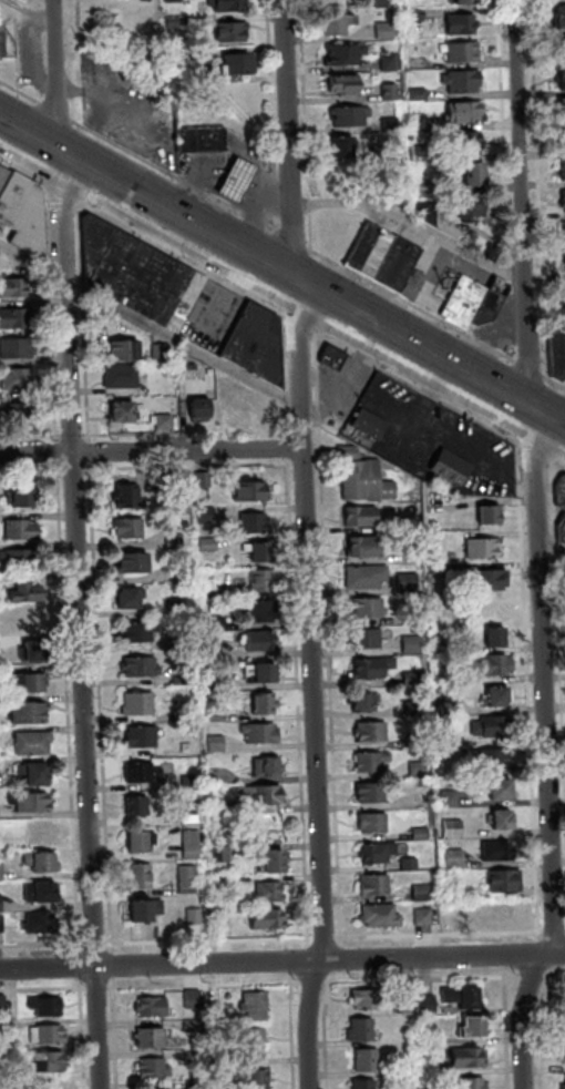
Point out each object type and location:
building: (174, 0)
building: (336, 1)
building: (466, 1)
building: (386, 3)
building: (232, 6)
building: (418, 16)
building: (562, 17)
building: (175, 21)
building: (339, 23)
building: (463, 24)
building: (234, 31)
building: (387, 31)
building: (6, 43)
road: (19, 43)
building: (561, 49)
building: (465, 52)
building: (347, 54)
building: (390, 62)
building: (240, 64)
road: (148, 79)
building: (563, 79)
building: (464, 81)
building: (346, 85)
building: (392, 92)
building: (420, 94)
building: (563, 108)
building: (466, 113)
road: (276, 116)
building: (351, 116)
building: (420, 123)
road: (308, 125)
building: (392, 125)
building: (564, 138)
road: (506, 139)
building: (203, 140)
building: (472, 143)
building: (343, 147)
building: (422, 153)
building: (384, 154)
road: (138, 156)
building: (564, 170)
building: (476, 175)
building: (238, 181)
building: (424, 184)
road: (542, 190)
building: (564, 196)
building: (471, 206)
building: (23, 211)
building: (430, 213)
road: (415, 224)
building: (563, 230)
road: (295, 241)
building: (371, 251)
building: (564, 259)
building: (398, 265)
building: (141, 275)
road: (282, 276)
building: (413, 285)
building: (13, 288)
building: (465, 302)
building: (493, 302)
road: (414, 306)
building: (16, 318)
road: (151, 324)
building: (259, 344)
building: (17, 348)
building: (126, 350)
building: (164, 352)
building: (558, 355)
building: (335, 358)
road: (533, 370)
building: (123, 376)
building: (20, 379)
road: (557, 383)
road: (419, 388)
road: (186, 395)
building: (203, 409)
building: (124, 413)
building: (19, 414)
building: (247, 416)
building: (168, 420)
road: (562, 421)
building: (370, 424)
road: (152, 449)
road: (537, 454)
road: (561, 467)
building: (453, 468)
road: (307, 471)
building: (363, 478)
building: (205, 480)
building: (132, 484)
building: (253, 492)
building: (562, 495)
building: (22, 497)
building: (130, 497)
building: (208, 516)
building: (490, 516)
building: (362, 517)
building: (256, 523)
building: (131, 529)
building: (22, 530)
building: (564, 531)
building: (173, 537)
road: (80, 544)
building: (210, 544)
road: (543, 547)
building: (364, 548)
building: (486, 549)
building: (260, 553)
building: (454, 557)
building: (20, 559)
building: (135, 564)
building: (442, 569)
building: (367, 577)
building: (263, 581)
building: (492, 581)
building: (409, 582)
building: (25, 594)
building: (133, 599)
building: (369, 609)
building: (263, 612)
building: (415, 618)
building: (417, 630)
building: (141, 633)
building: (364, 639)
building: (496, 639)
building: (259, 642)
building: (412, 645)
building: (444, 648)
building: (35, 653)
building: (494, 665)
building: (374, 668)
building: (143, 669)
building: (263, 674)
building: (413, 679)
building: (32, 684)
building: (496, 699)
building: (363, 703)
building: (140, 704)
building: (266, 705)
building: (451, 708)
building: (414, 709)
building: (29, 714)
building: (217, 717)
building: (495, 727)
building: (372, 732)
building: (263, 734)
building: (143, 739)
building: (417, 741)
building: (34, 744)
building: (218, 744)
building: (495, 759)
building: (372, 763)
building: (268, 769)
building: (419, 770)
building: (144, 774)
building: (35, 775)
building: (502, 792)
building: (371, 793)
building: (265, 796)
building: (451, 798)
building: (32, 804)
building: (188, 806)
building: (138, 807)
building: (374, 822)
building: (504, 822)
building: (454, 830)
building: (42, 832)
building: (422, 834)
building: (142, 843)
building: (189, 843)
building: (499, 852)
building: (380, 853)
building: (224, 854)
building: (455, 859)
building: (42, 863)
building: (277, 863)
building: (411, 865)
building: (2, 873)
building: (143, 877)
building: (185, 877)
building: (506, 882)
building: (376, 885)
building: (424, 893)
building: (42, 894)
building: (274, 894)
building: (1, 904)
building: (500, 909)
building: (147, 912)
building: (193, 914)
building: (382, 917)
building: (424, 917)
building: (269, 920)
building: (2, 924)
building: (42, 925)
road: (281, 961)
building: (564, 989)
building: (195, 999)
building: (463, 999)
building: (369, 1001)
building: (3, 1005)
building: (408, 1005)
building: (428, 1006)
building: (48, 1007)
building: (154, 1008)
building: (256, 1008)
building: (216, 1010)
road: (311, 1015)
building: (195, 1027)
building: (8, 1029)
building: (474, 1029)
building: (362, 1030)
building: (50, 1036)
building: (429, 1038)
building: (151, 1039)
building: (254, 1044)
building: (564, 1052)
building: (3, 1057)
building: (196, 1057)
building: (469, 1059)
building: (368, 1061)
building: (50, 1063)
building: (432, 1066)
building: (156, 1069)
building: (407, 1070)
building: (261, 1079)
building: (49, 1082)
building: (474, 1083)
building: (197, 1085)
building: (364, 1085)
building: (564, 1087)
building: (152, 1088)

